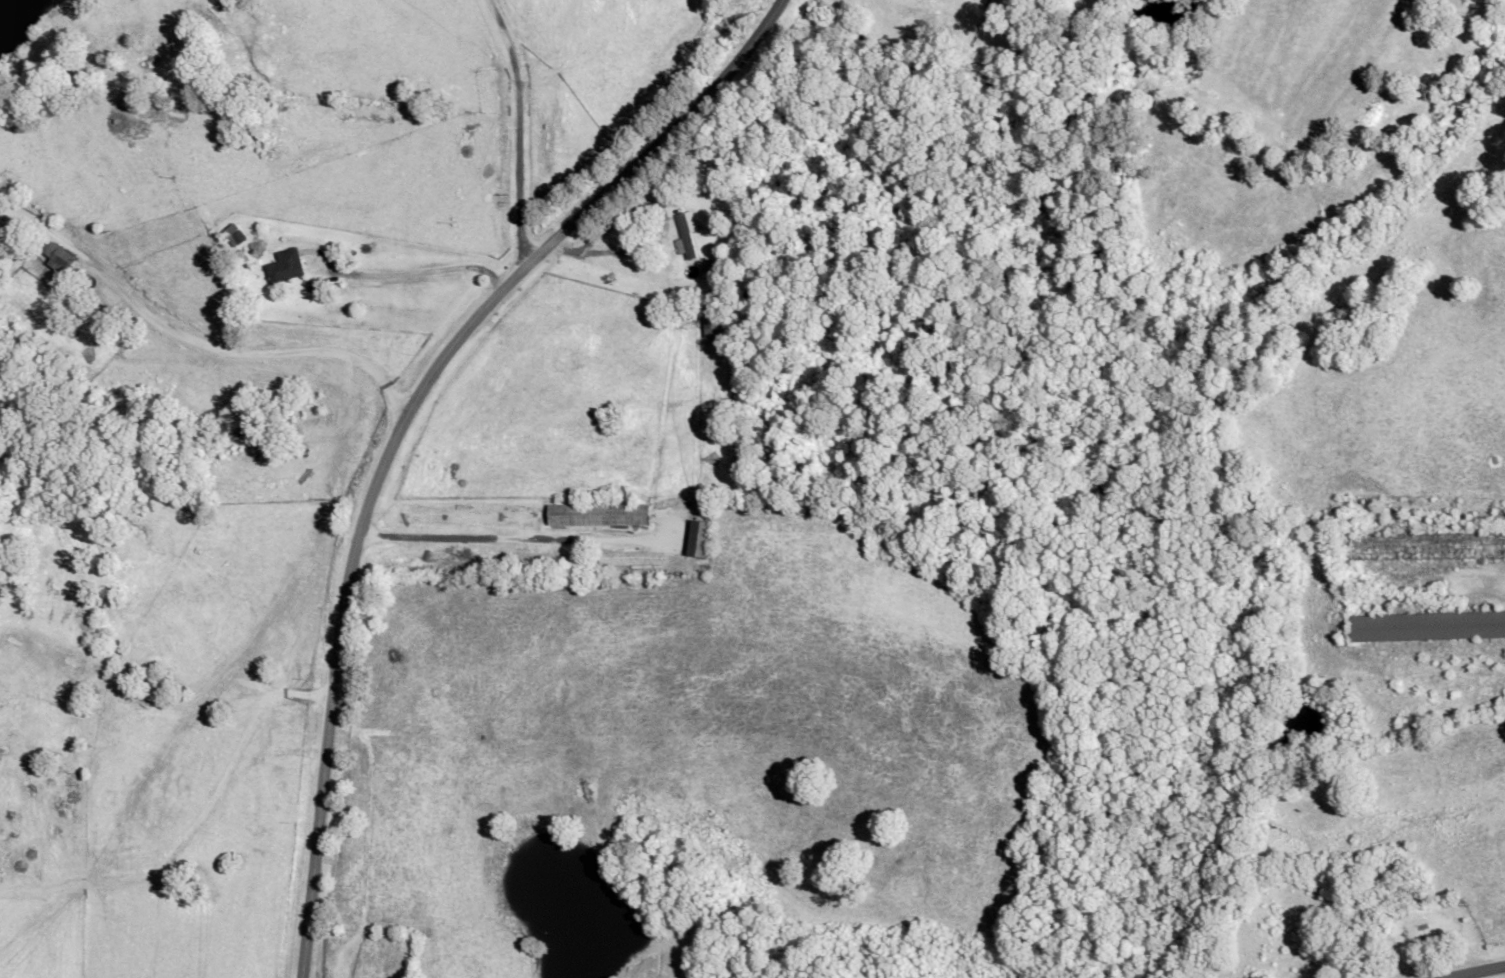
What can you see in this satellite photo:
road: (518, 130)
building: (685, 234)
building: (231, 236)
building: (52, 258)
building: (281, 267)
building: (708, 317)
road: (400, 421)
building: (594, 517)
building: (696, 540)
building: (1424, 547)
building: (1425, 627)
road: (1476, 971)

